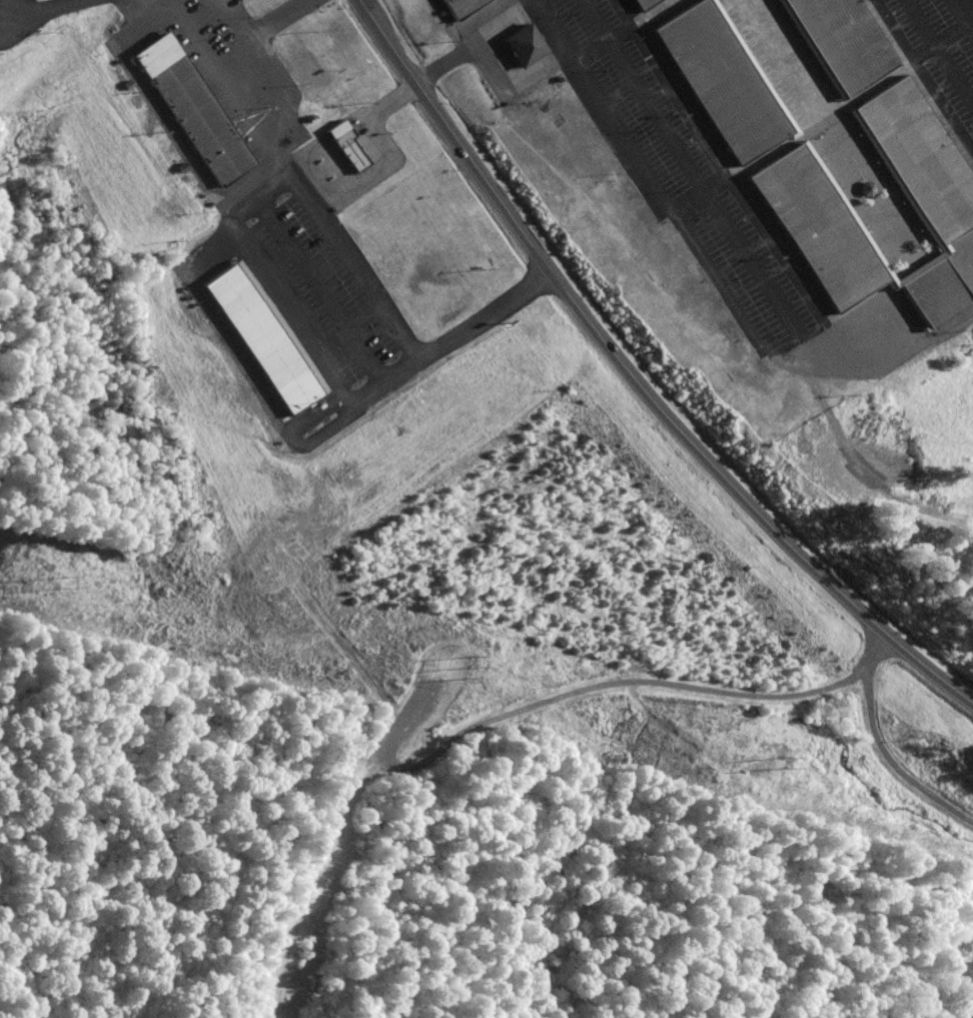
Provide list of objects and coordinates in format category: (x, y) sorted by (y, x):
road: (969, 7)
building: (462, 8)
road: (255, 34)
building: (522, 45)
road: (280, 103)
building: (188, 109)
building: (829, 142)
building: (348, 147)
road: (341, 248)
building: (262, 337)
road: (637, 376)
power tower: (58, 578)
power tower: (465, 668)
road: (881, 746)
power tower: (770, 762)

